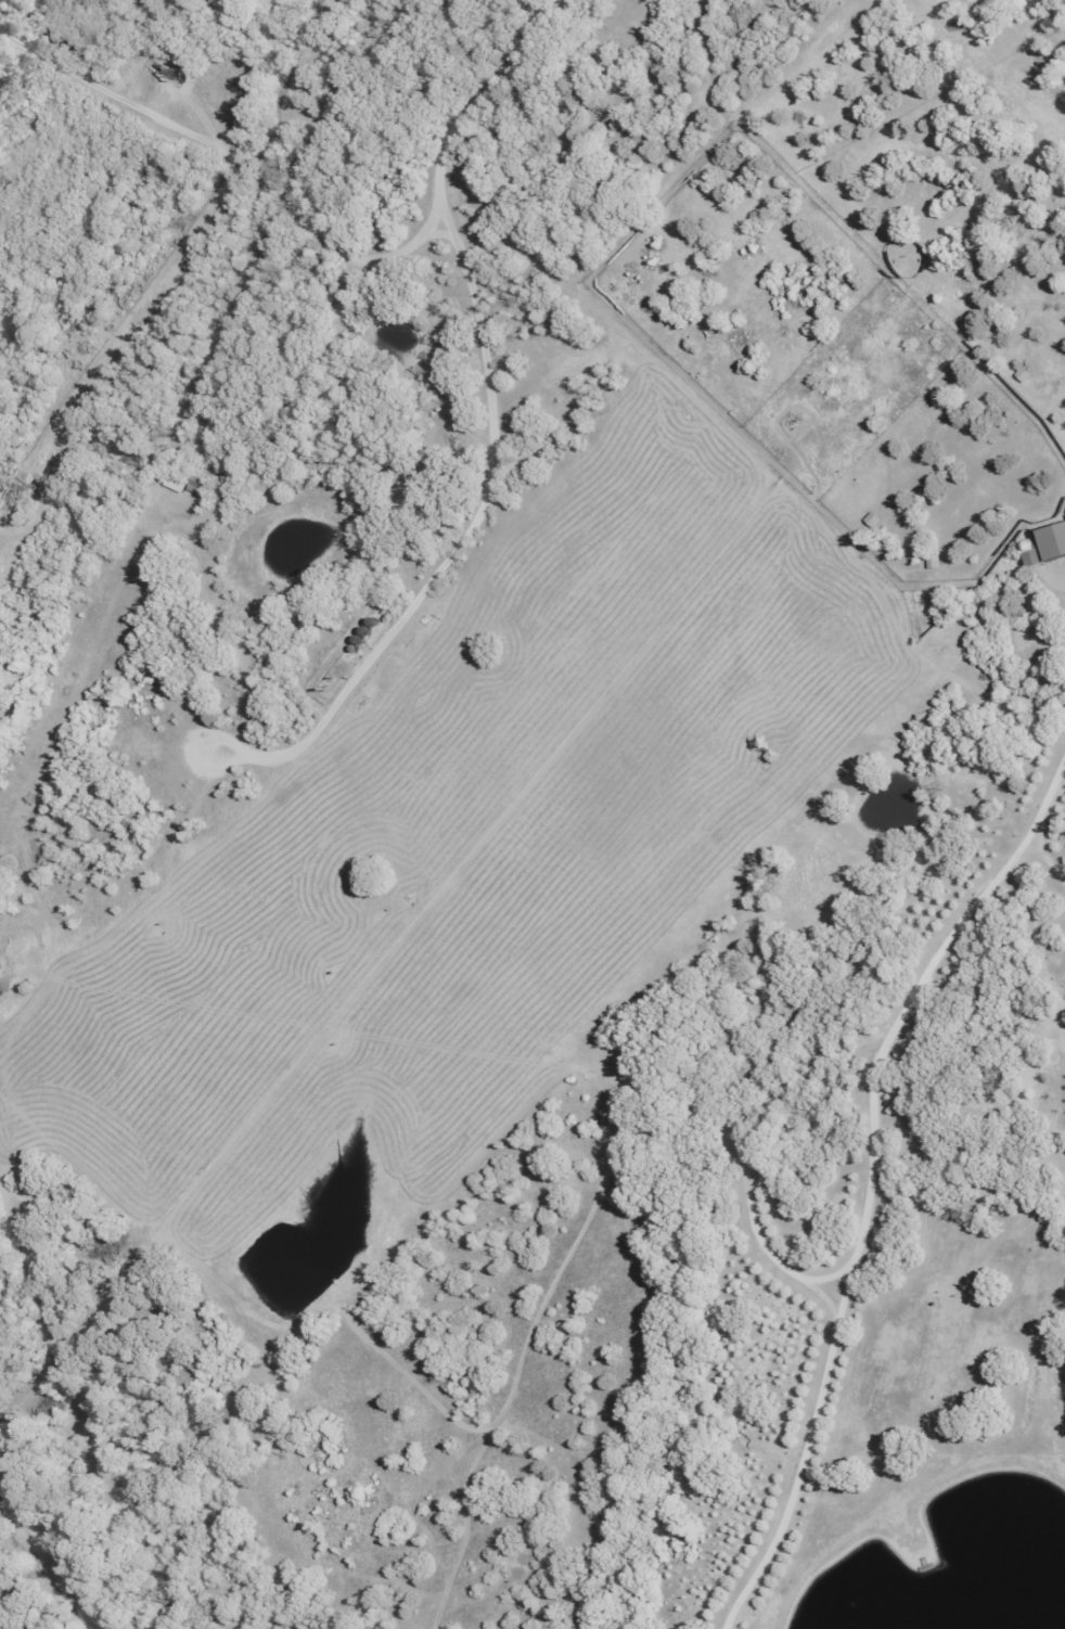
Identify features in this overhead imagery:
petroleum well: (163, 75)
building: (1047, 544)

